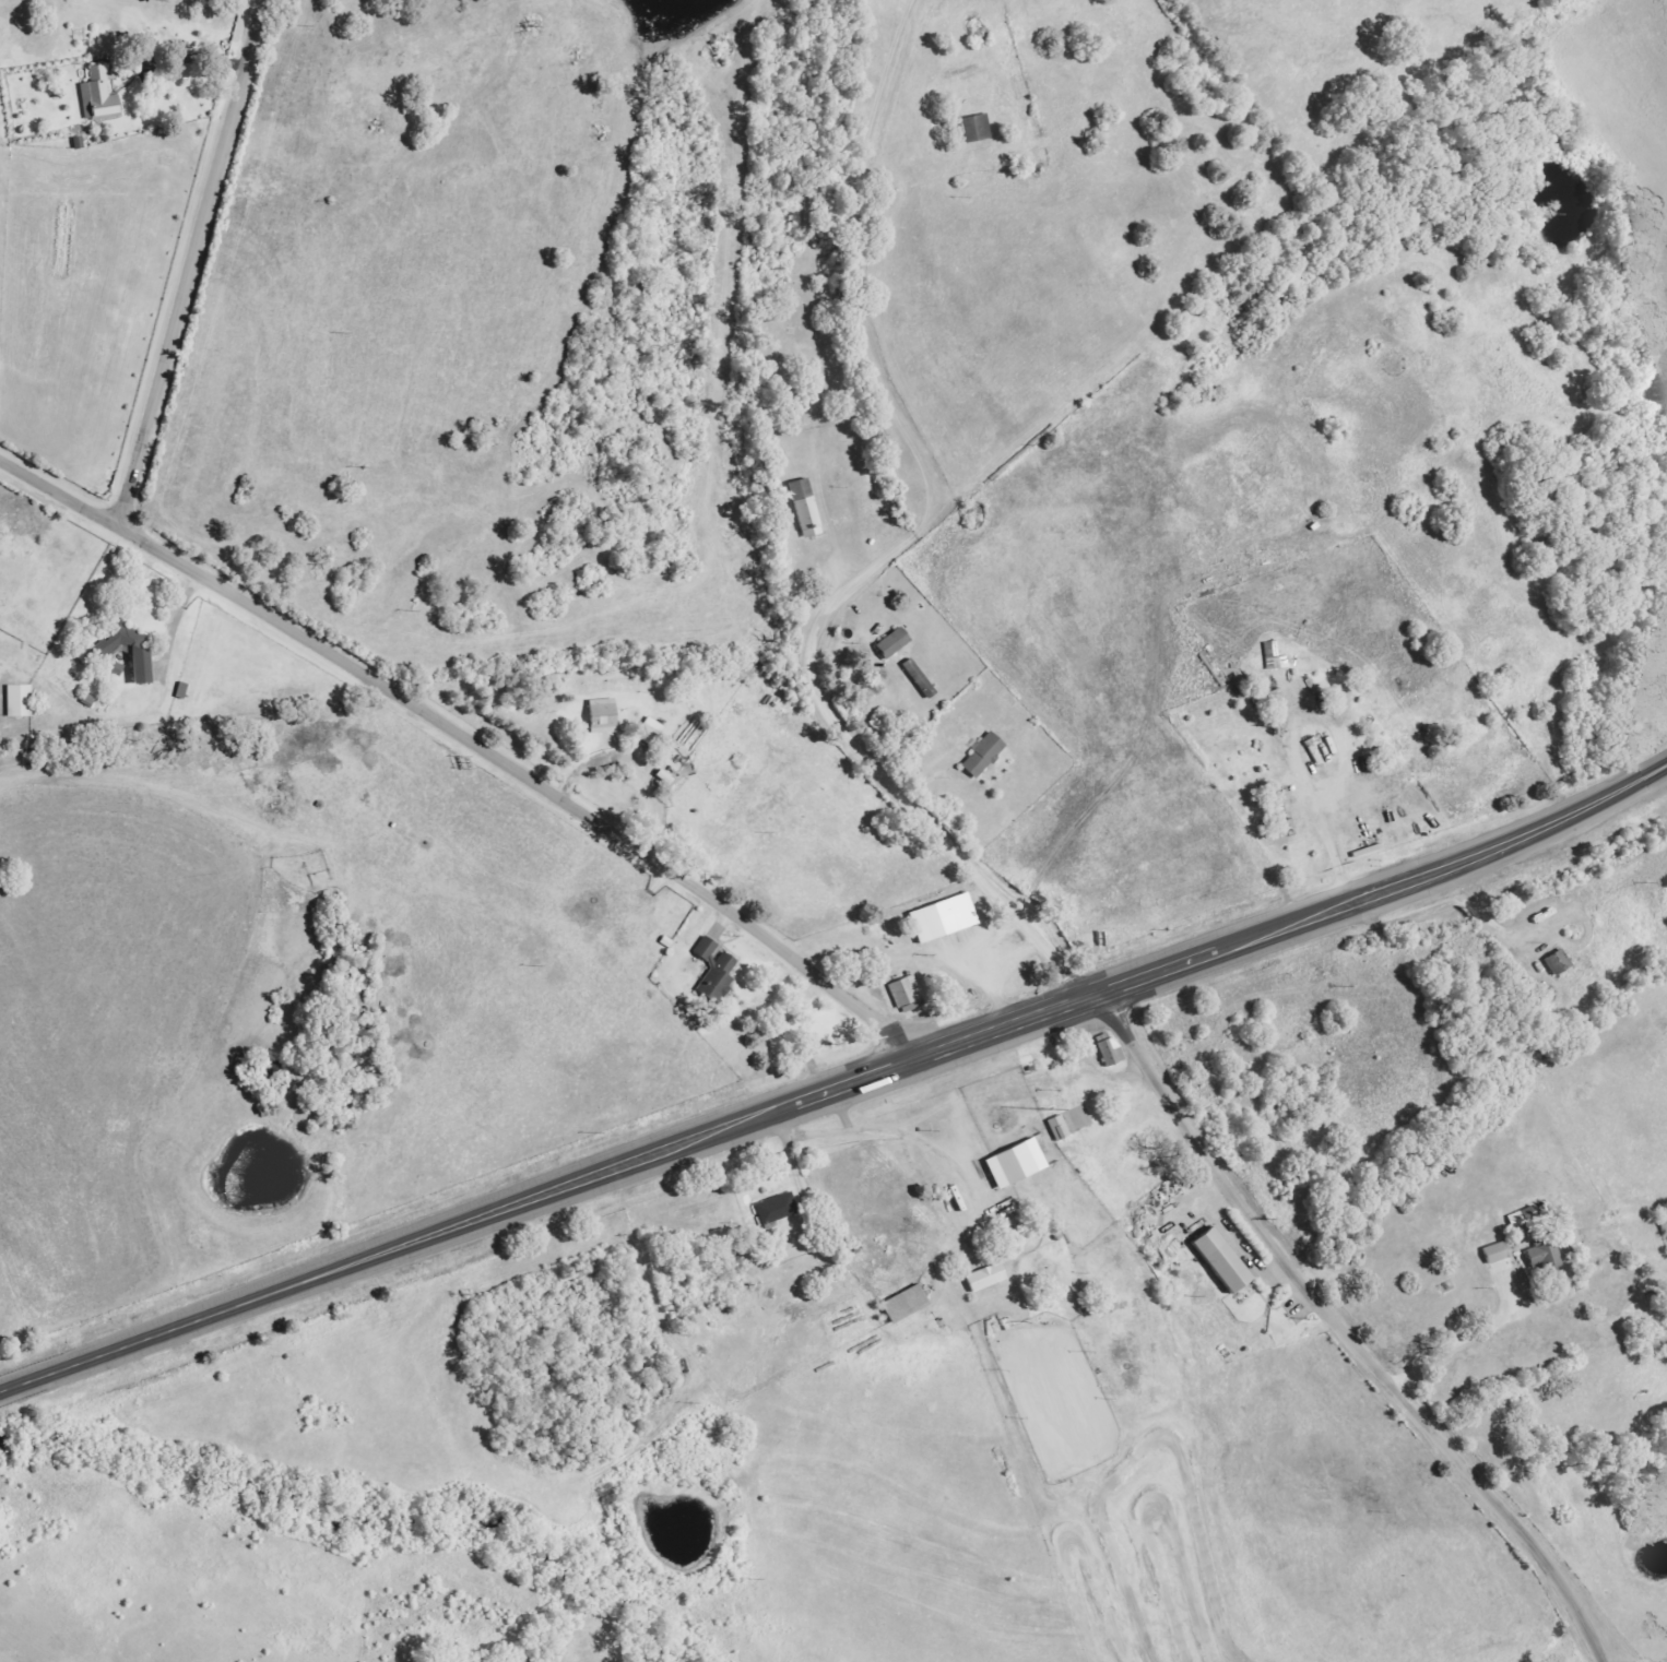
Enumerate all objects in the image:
building: (101, 97)
building: (978, 129)
road: (193, 262)
building: (807, 508)
road: (900, 551)
road: (179, 622)
building: (896, 642)
building: (104, 651)
building: (117, 668)
building: (921, 678)
building: (22, 700)
building: (90, 700)
building: (605, 715)
building: (651, 733)
road: (472, 739)
building: (986, 755)
building: (946, 918)
road: (1491, 919)
building: (1560, 963)
building: (716, 970)
building: (909, 995)
building: (1113, 1052)
road: (959, 1071)
road: (836, 1090)
road: (951, 1103)
building: (1061, 1128)
road: (939, 1151)
building: (1019, 1163)
building: (779, 1209)
road: (1016, 1216)
building: (1525, 1216)
building: (1500, 1253)
building: (1546, 1257)
building: (1227, 1260)
building: (989, 1278)
building: (908, 1304)
road: (1348, 1334)
road: (1461, 1346)

